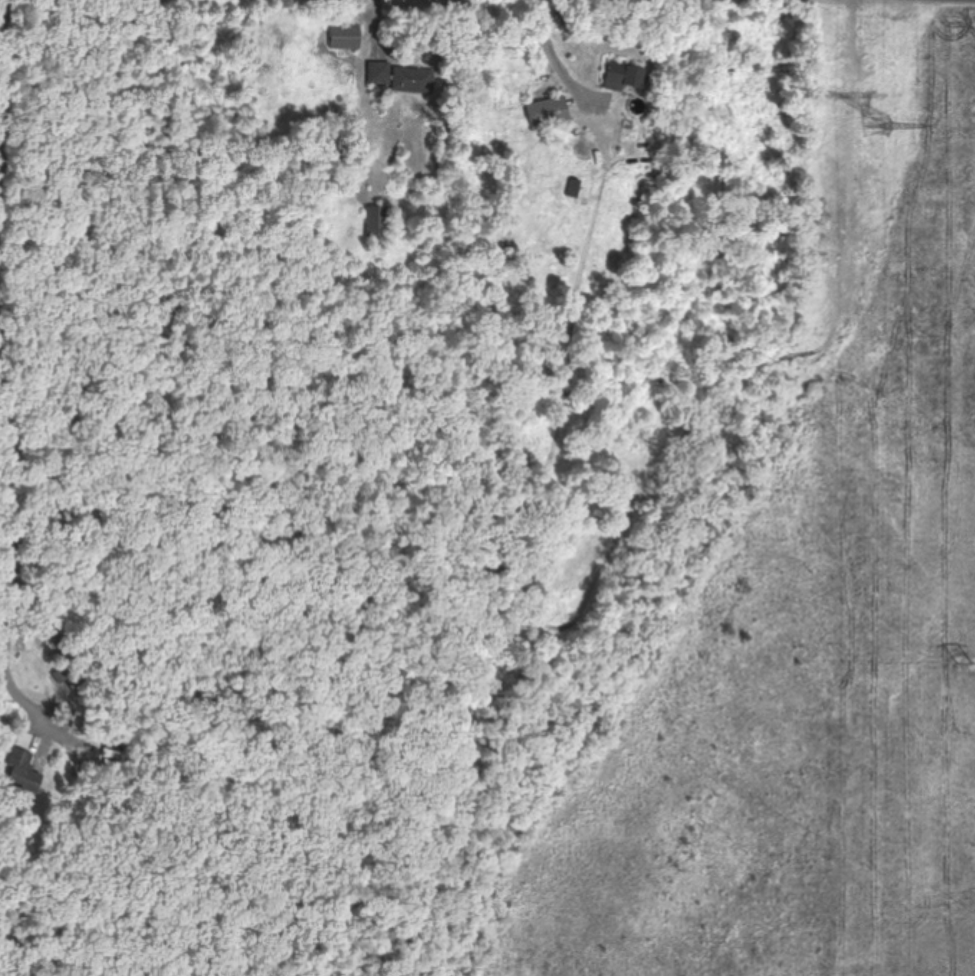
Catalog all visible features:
road: (969, 0)
building: (344, 38)
building: (378, 73)
building: (622, 76)
building: (412, 81)
building: (546, 113)
power tower: (877, 129)
building: (640, 188)
building: (376, 222)
road: (14, 367)
power tower: (967, 665)
building: (77, 682)
building: (80, 723)
building: (106, 754)
building: (21, 775)

